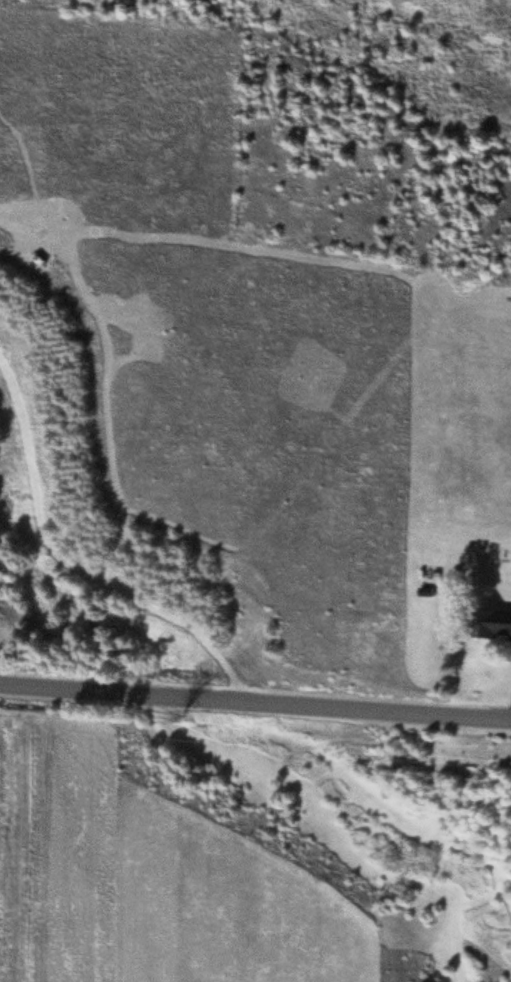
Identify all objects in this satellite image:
building: (500, 625)
road: (255, 703)

